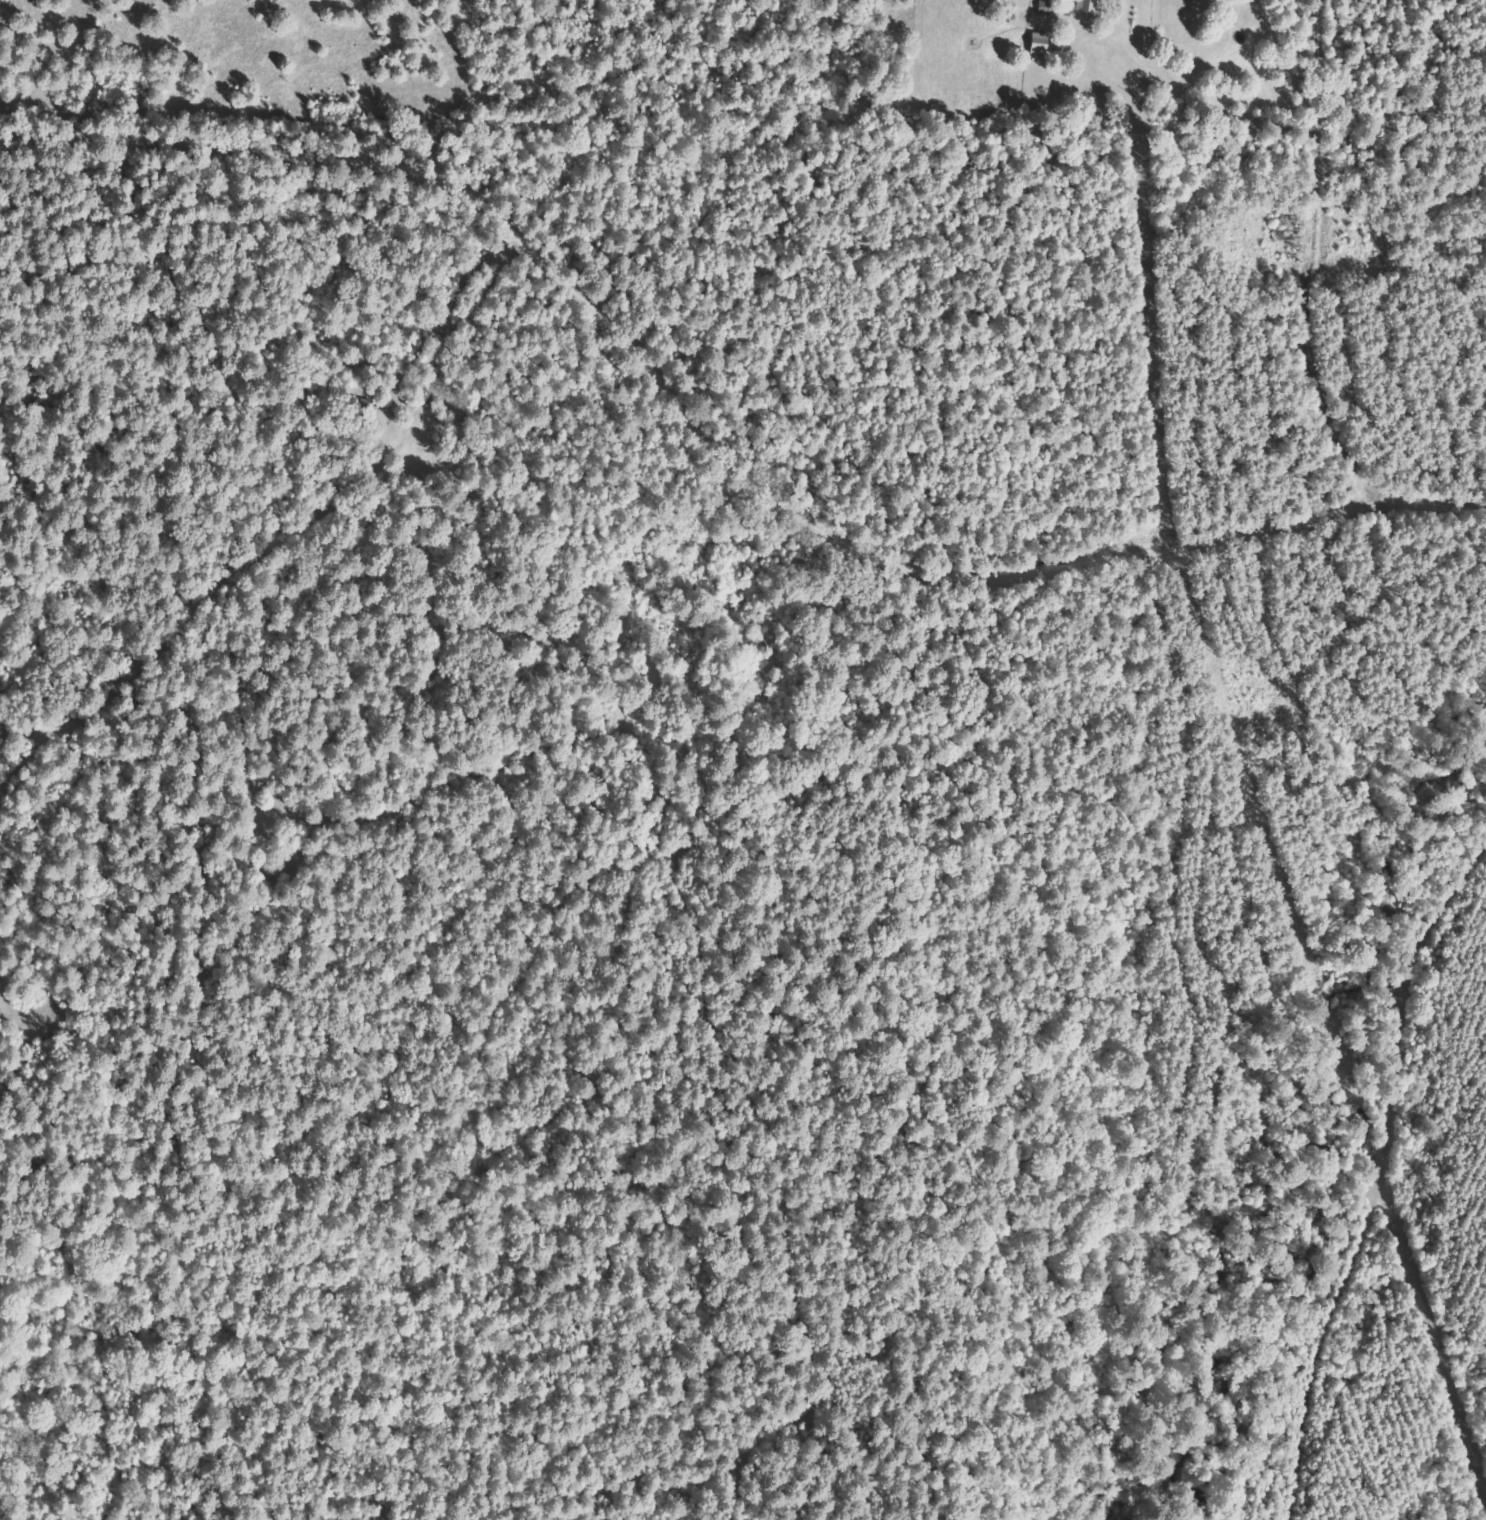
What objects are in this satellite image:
building: (1086, 5)
road: (1170, 111)
road: (1322, 246)
road: (676, 414)
road: (1420, 487)

